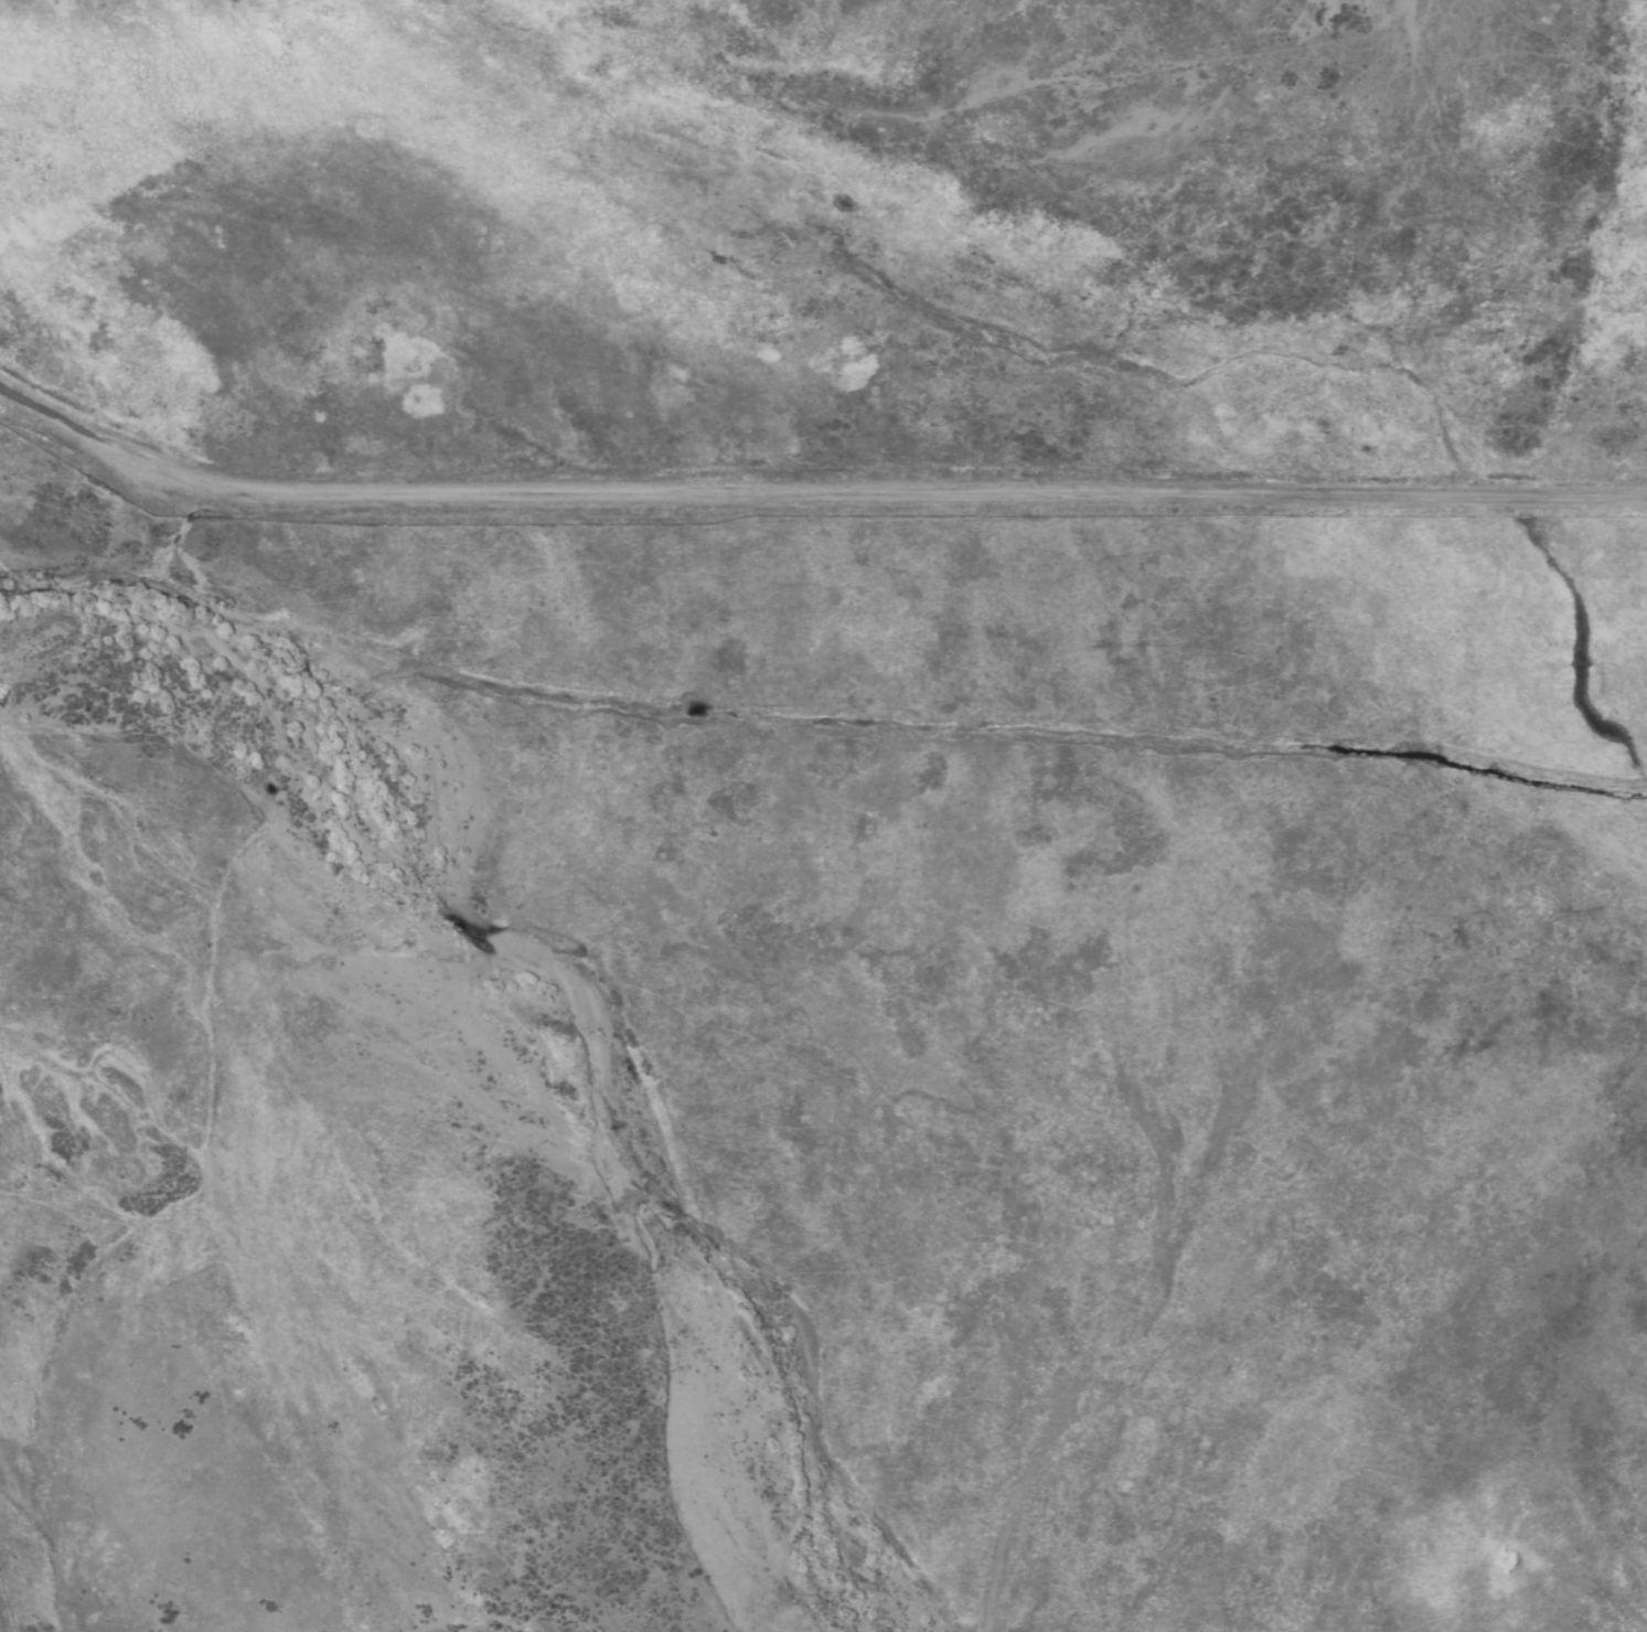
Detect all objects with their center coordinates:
road: (813, 491)
river: (565, 996)

